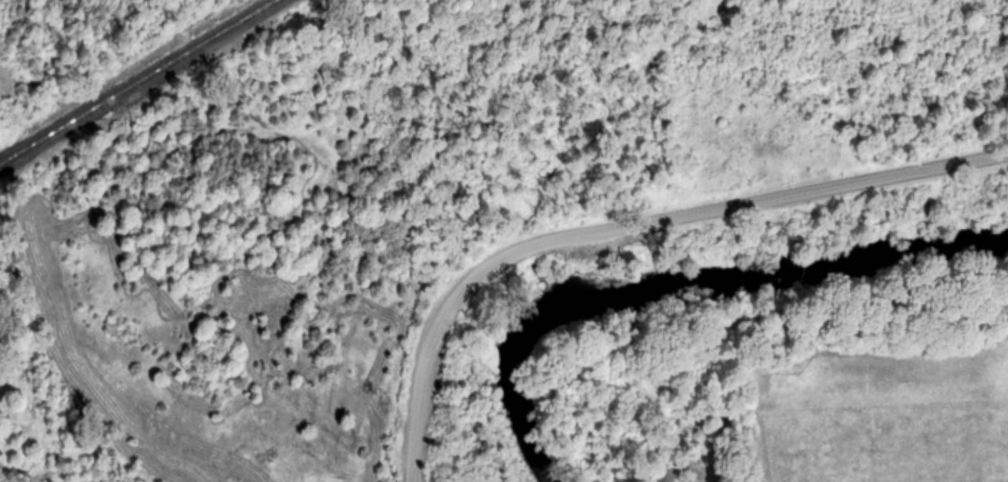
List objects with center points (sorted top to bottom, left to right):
railway: (137, 81)
road: (627, 224)

